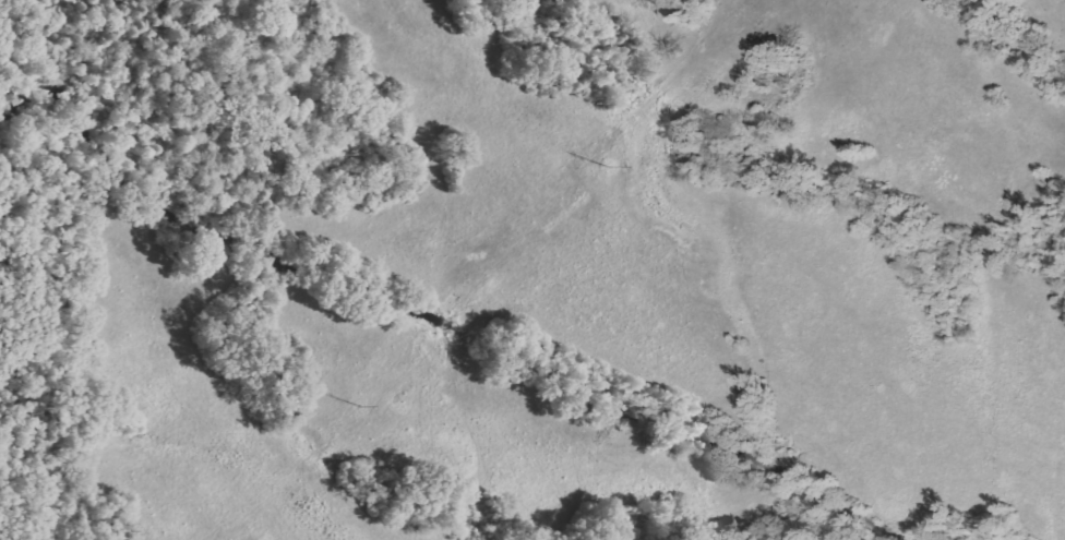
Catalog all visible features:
power tower: (607, 168)
power tower: (362, 407)

